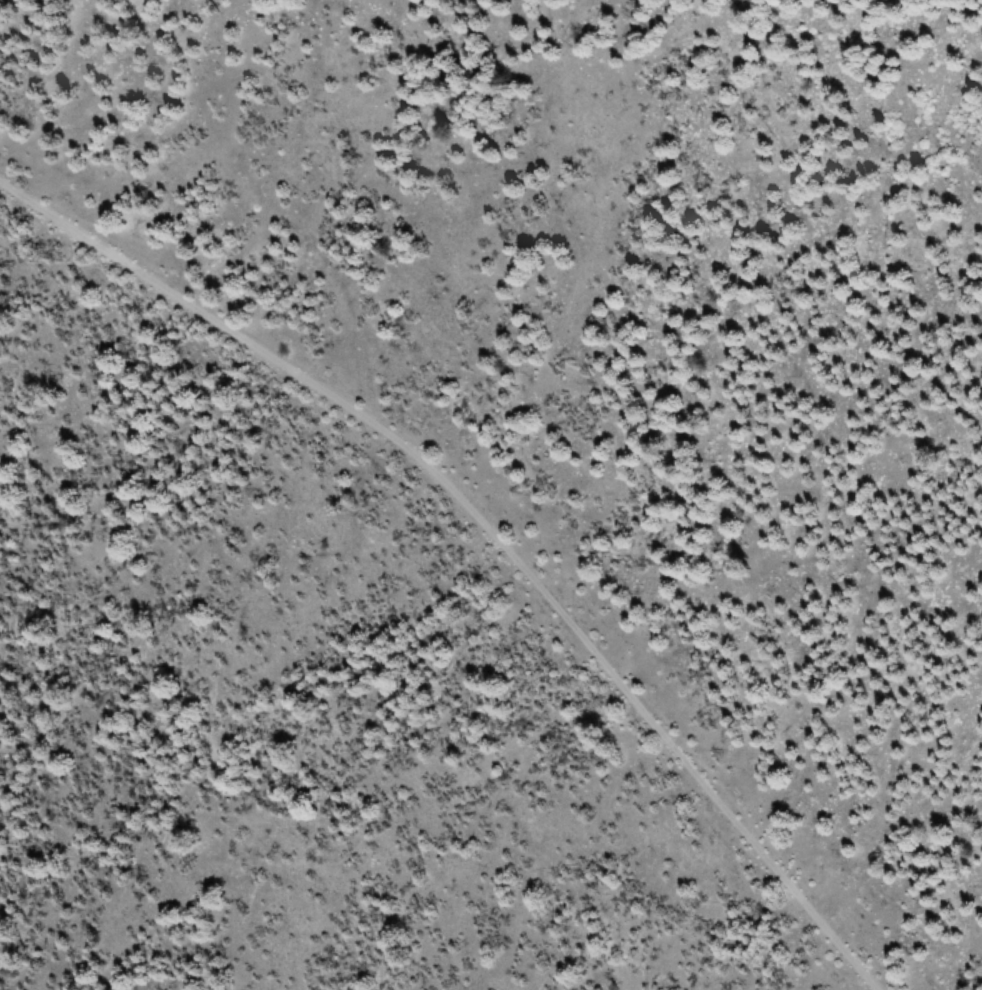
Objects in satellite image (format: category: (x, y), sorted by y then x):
road: (488, 528)

